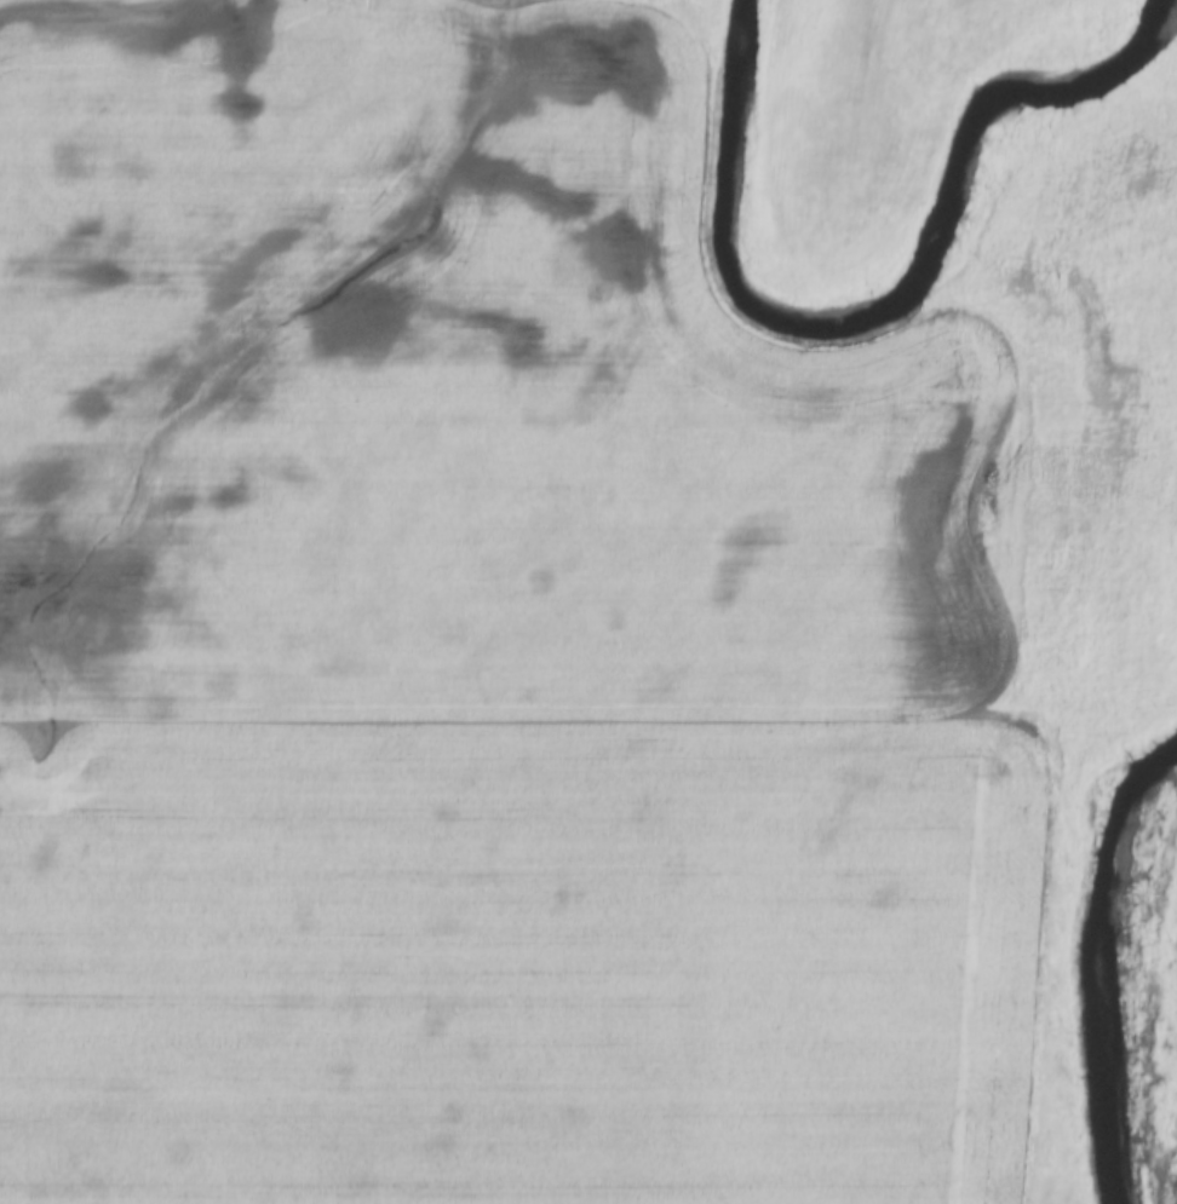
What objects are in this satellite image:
river: (889, 273)
river: (1126, 996)

